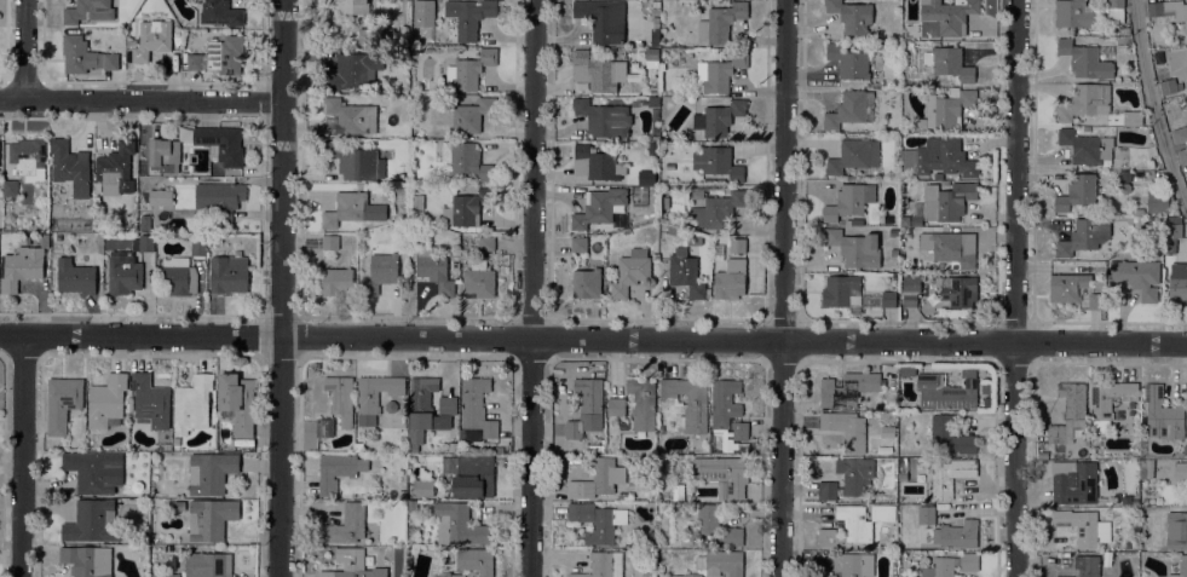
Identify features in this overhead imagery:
building: (909, 2)
building: (351, 6)
building: (1169, 8)
building: (90, 10)
building: (1116, 11)
building: (220, 12)
building: (1073, 13)
building: (852, 15)
building: (949, 15)
building: (467, 17)
building: (603, 18)
building: (721, 21)
building: (1125, 29)
building: (380, 35)
building: (655, 36)
building: (152, 39)
road: (263, 40)
building: (857, 44)
road: (25, 48)
building: (226, 53)
building: (652, 53)
building: (85, 54)
building: (1084, 59)
building: (195, 60)
building: (849, 60)
building: (949, 62)
building: (355, 68)
building: (468, 70)
building: (594, 70)
building: (720, 70)
road: (263, 82)
building: (1170, 85)
road: (140, 99)
road: (264, 102)
building: (653, 102)
building: (1169, 102)
building: (1095, 105)
road: (1153, 105)
building: (851, 108)
building: (945, 108)
building: (351, 115)
building: (471, 115)
building: (604, 117)
building: (719, 117)
road: (261, 121)
building: (1179, 129)
building: (221, 143)
building: (1085, 146)
building: (163, 150)
building: (853, 154)
building: (937, 155)
building: (1182, 155)
building: (29, 156)
building: (466, 158)
building: (356, 161)
building: (69, 162)
building: (716, 162)
building: (597, 163)
building: (116, 168)
building: (1125, 174)
building: (938, 175)
building: (1142, 179)
building: (645, 180)
building: (655, 180)
building: (945, 184)
building: (11, 186)
building: (1125, 187)
building: (655, 190)
building: (1076, 191)
building: (399, 192)
building: (696, 194)
building: (160, 196)
building: (219, 198)
building: (848, 200)
building: (946, 200)
building: (664, 201)
building: (1158, 202)
building: (600, 206)
building: (467, 207)
building: (352, 208)
building: (719, 208)
building: (1139, 210)
road: (261, 217)
building: (905, 220)
building: (145, 221)
building: (853, 221)
building: (1171, 232)
road: (1033, 235)
building: (1083, 236)
building: (692, 238)
building: (330, 241)
building: (143, 242)
building: (486, 243)
building: (578, 243)
building: (736, 244)
building: (198, 247)
building: (855, 247)
building: (951, 247)
building: (894, 252)
building: (455, 266)
building: (22, 267)
building: (434, 269)
building: (630, 271)
building: (125, 272)
building: (380, 272)
building: (686, 273)
building: (179, 275)
building: (229, 275)
building: (75, 276)
building: (1136, 276)
building: (479, 278)
building: (336, 279)
building: (730, 279)
building: (587, 282)
building: (1177, 282)
road: (281, 288)
road: (534, 288)
road: (785, 288)
road: (1018, 288)
building: (910, 289)
building: (841, 290)
building: (1072, 290)
building: (953, 292)
building: (888, 298)
road: (302, 313)
road: (259, 315)
road: (261, 316)
road: (408, 316)
road: (658, 318)
road: (899, 319)
road: (593, 339)
road: (148, 354)
road: (259, 357)
building: (906, 369)
building: (848, 388)
building: (986, 388)
building: (947, 390)
building: (375, 396)
building: (341, 397)
building: (106, 399)
building: (688, 399)
building: (150, 400)
building: (237, 400)
building: (1108, 400)
building: (62, 402)
building: (643, 402)
building: (192, 403)
building: (616, 405)
building: (477, 406)
building: (586, 406)
building: (427, 409)
building: (1068, 411)
building: (727, 412)
building: (1163, 415)
building: (324, 426)
building: (846, 428)
building: (887, 431)
building: (950, 435)
road: (19, 457)
building: (338, 469)
building: (94, 471)
building: (211, 471)
building: (1181, 471)
building: (471, 474)
building: (722, 474)
building: (950, 475)
building: (598, 478)
building: (848, 478)
building: (1076, 484)
building: (423, 487)
building: (678, 491)
building: (626, 495)
building: (1135, 501)
building: (926, 514)
building: (211, 518)
building: (92, 520)
building: (597, 520)
building: (346, 524)
building: (459, 524)
building: (707, 524)
building: (854, 524)
building: (1083, 526)
building: (1180, 529)
building: (957, 533)
building: (734, 536)
building: (472, 559)
building: (87, 560)
building: (721, 562)
building: (353, 564)
building: (857, 564)
building: (208, 565)
building: (603, 565)
building: (950, 565)
building: (1091, 565)
building: (1181, 566)
building: (445, 573)
building: (171, 575)
building: (692, 575)
building: (826, 576)
building: (1064, 576)

